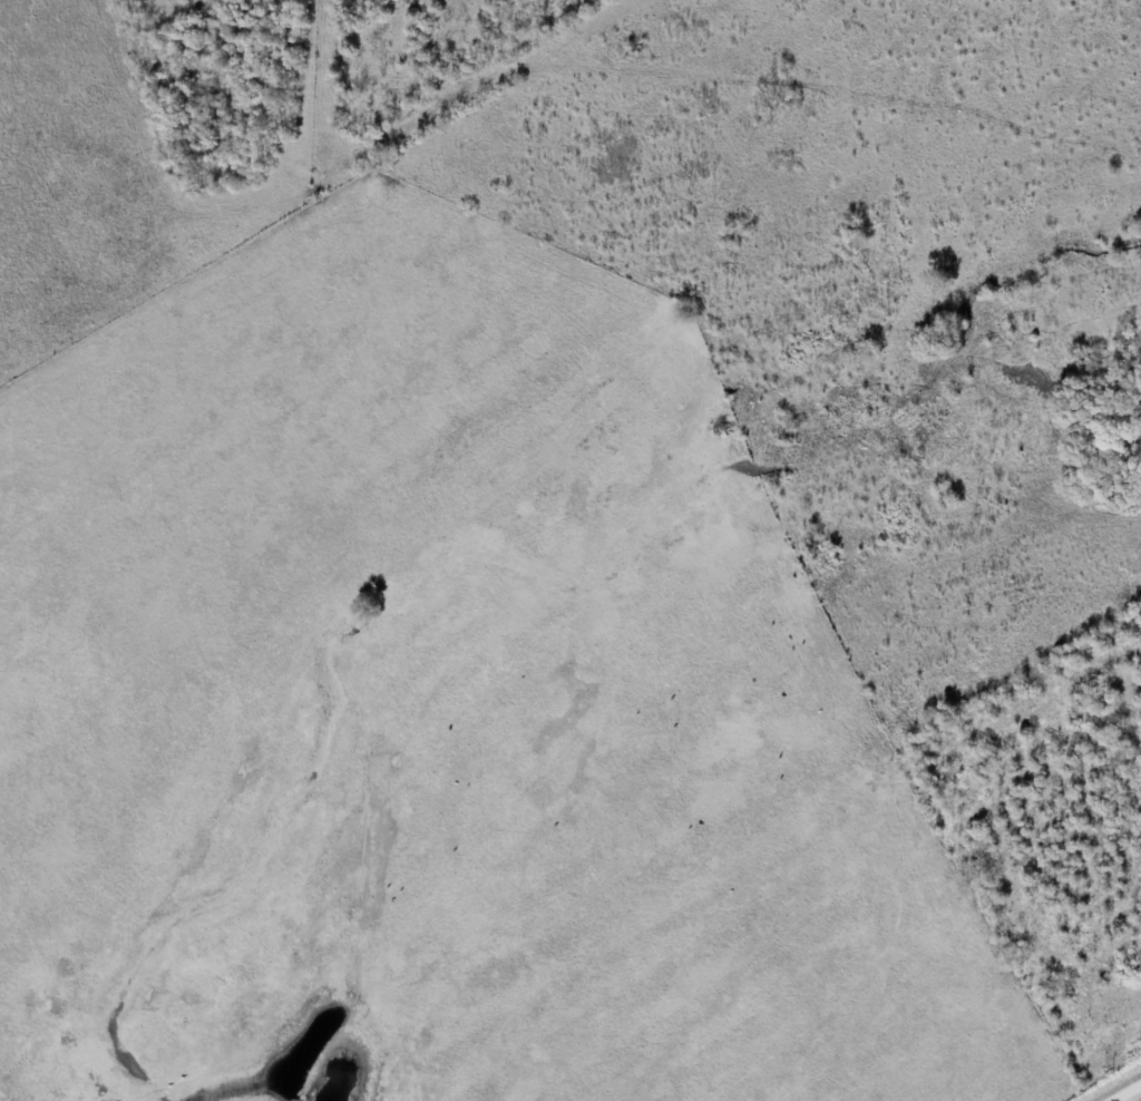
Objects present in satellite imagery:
road: (1129, 1094)

